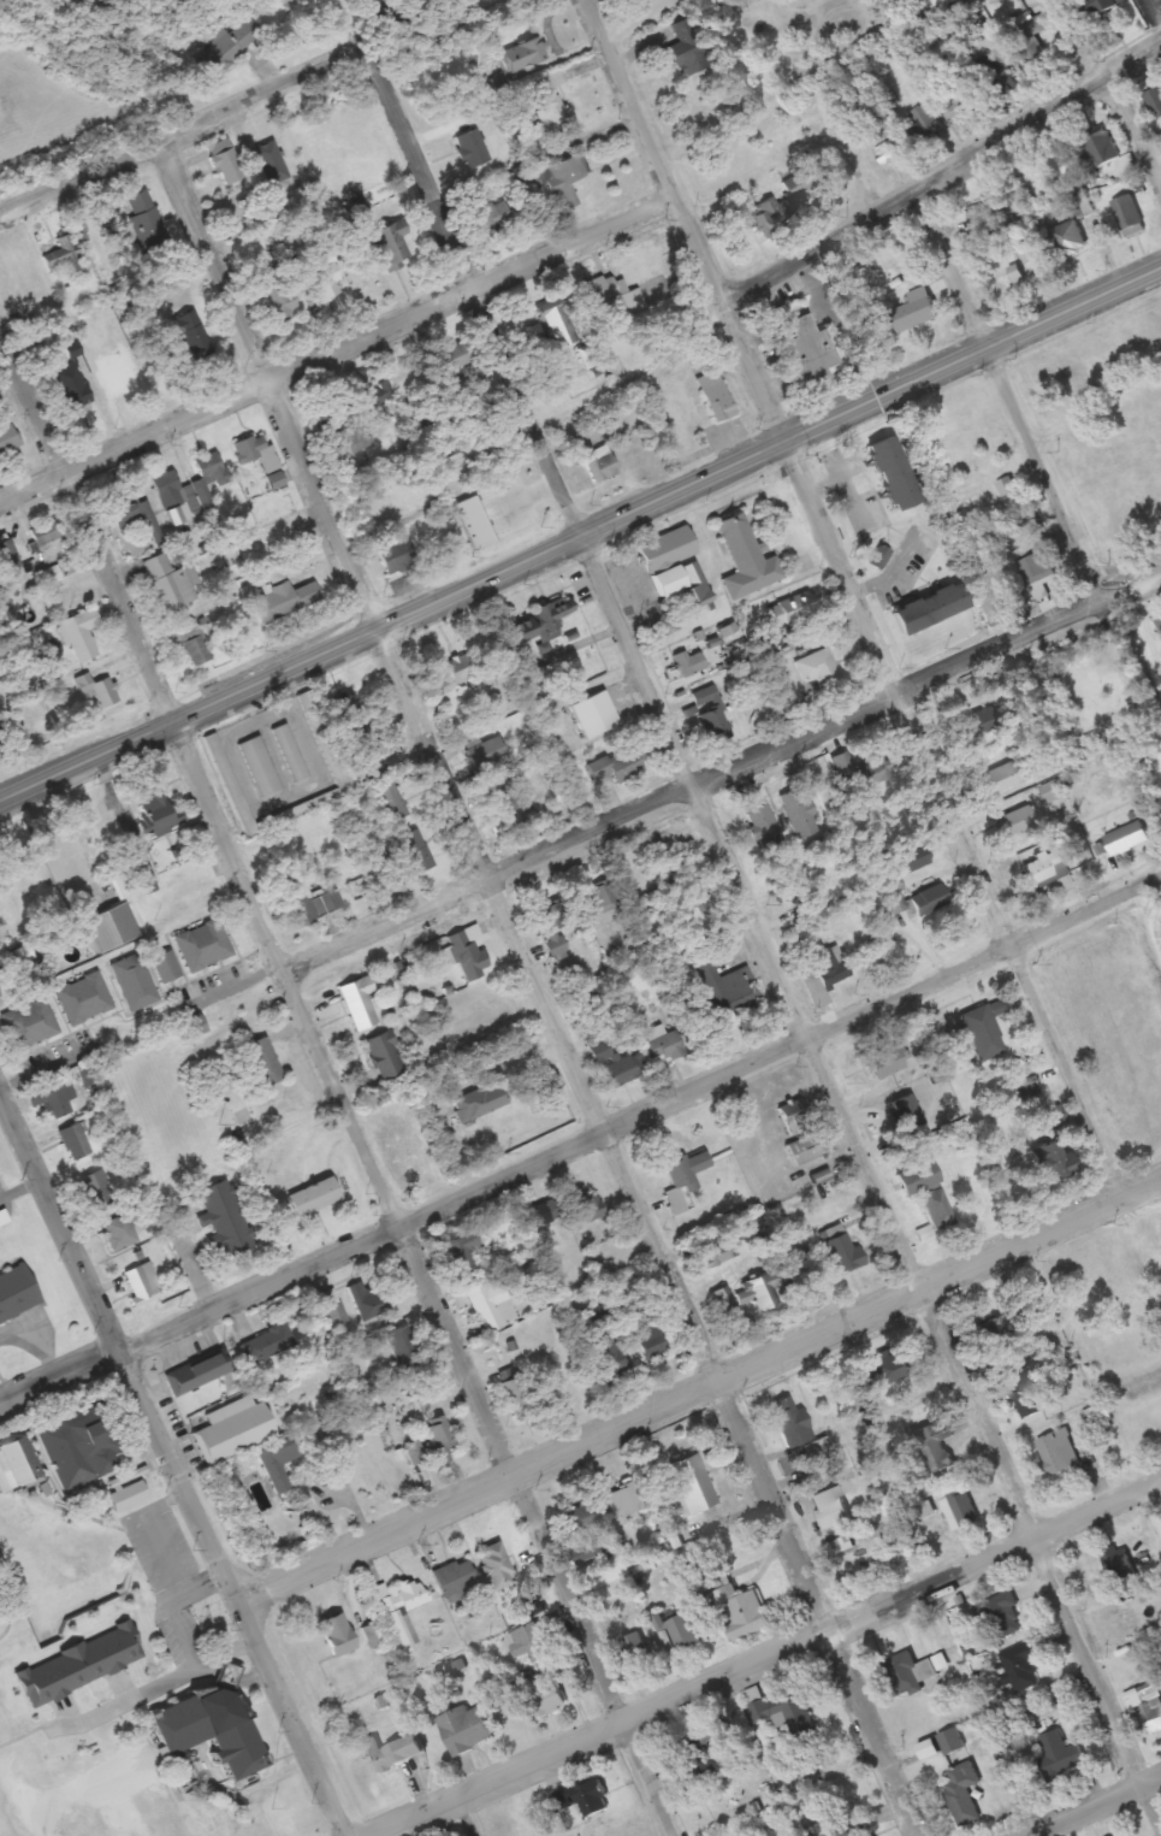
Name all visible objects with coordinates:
building: (1097, 7)
road: (972, 40)
building: (1031, 42)
building: (225, 46)
building: (686, 48)
building: (525, 54)
road: (1119, 82)
building: (1154, 101)
building: (546, 104)
building: (958, 105)
road: (254, 106)
building: (926, 118)
building: (472, 148)
building: (1103, 150)
building: (225, 165)
road: (944, 173)
building: (563, 177)
building: (801, 181)
building: (1007, 200)
building: (137, 201)
building: (1129, 214)
road: (689, 216)
building: (774, 216)
building: (487, 218)
building: (1070, 240)
building: (390, 244)
building: (60, 258)
building: (640, 266)
road: (947, 268)
building: (324, 276)
building: (598, 290)
building: (278, 299)
road: (474, 299)
building: (916, 309)
building: (555, 327)
building: (190, 335)
road: (339, 343)
building: (810, 349)
building: (590, 355)
building: (448, 365)
building: (112, 374)
building: (71, 386)
road: (262, 386)
building: (373, 395)
building: (716, 396)
building: (6, 435)
building: (355, 442)
building: (249, 449)
building: (599, 465)
building: (894, 472)
building: (209, 473)
building: (167, 490)
building: (1011, 495)
building: (124, 508)
road: (580, 526)
building: (45, 533)
road: (1072, 533)
road: (79, 542)
building: (667, 548)
building: (397, 555)
building: (8, 557)
building: (746, 559)
building: (1044, 565)
building: (51, 575)
building: (170, 583)
building: (685, 584)
building: (283, 601)
building: (792, 608)
building: (931, 608)
building: (1157, 625)
building: (540, 626)
building: (79, 634)
building: (189, 645)
building: (769, 647)
building: (688, 662)
building: (460, 667)
building: (818, 668)
building: (775, 675)
building: (96, 690)
building: (594, 714)
building: (711, 714)
building: (984, 720)
building: (486, 752)
building: (620, 764)
building: (858, 772)
road: (719, 775)
building: (1001, 778)
building: (1050, 792)
building: (390, 801)
building: (505, 807)
building: (798, 813)
road: (958, 813)
building: (156, 814)
building: (1017, 820)
building: (762, 823)
building: (1126, 839)
building: (413, 851)
building: (914, 857)
building: (1043, 869)
building: (144, 875)
building: (929, 897)
building: (599, 898)
building: (307, 904)
building: (106, 922)
building: (551, 927)
building: (203, 945)
building: (468, 952)
building: (165, 967)
building: (824, 974)
building: (134, 981)
building: (722, 982)
building: (83, 998)
building: (359, 1002)
building: (29, 1025)
building: (983, 1032)
building: (665, 1046)
building: (385, 1055)
building: (263, 1061)
building: (887, 1061)
building: (624, 1069)
building: (49, 1099)
building: (479, 1100)
building: (906, 1115)
building: (794, 1116)
building: (73, 1141)
building: (806, 1147)
road: (584, 1151)
building: (1052, 1161)
building: (687, 1171)
road: (871, 1176)
building: (918, 1177)
building: (96, 1188)
building: (314, 1197)
building: (590, 1208)
building: (539, 1215)
building: (2, 1217)
building: (223, 1220)
road: (644, 1229)
building: (119, 1233)
building: (462, 1252)
building: (712, 1252)
building: (842, 1254)
road: (415, 1276)
building: (1113, 1282)
building: (142, 1283)
building: (762, 1291)
building: (17, 1293)
building: (486, 1298)
building: (723, 1299)
building: (369, 1300)
building: (1032, 1304)
building: (331, 1309)
building: (994, 1335)
building: (648, 1341)
building: (267, 1344)
building: (402, 1347)
building: (606, 1354)
building: (890, 1369)
building: (197, 1372)
road: (699, 1392)
building: (1025, 1395)
building: (519, 1397)
building: (790, 1422)
building: (235, 1429)
building: (79, 1444)
building: (431, 1444)
building: (934, 1445)
building: (1056, 1452)
building: (277, 1463)
building: (18, 1464)
road: (173, 1470)
building: (689, 1484)
building: (624, 1503)
building: (830, 1507)
building: (961, 1511)
building: (580, 1516)
building: (848, 1554)
building: (1118, 1564)
building: (496, 1566)
building: (455, 1577)
building: (403, 1610)
building: (740, 1612)
building: (1001, 1616)
building: (683, 1633)
building: (338, 1635)
building: (528, 1643)
building: (634, 1655)
road: (765, 1657)
building: (78, 1664)
building: (1020, 1665)
building: (913, 1673)
building: (547, 1701)
building: (778, 1711)
building: (1153, 1714)
building: (212, 1729)
building: (464, 1730)
building: (950, 1742)
building: (393, 1753)
building: (700, 1753)
building: (1060, 1755)
building: (962, 1794)
building: (582, 1799)
road: (1094, 1805)
road: (460, 1817)
building: (851, 1828)

